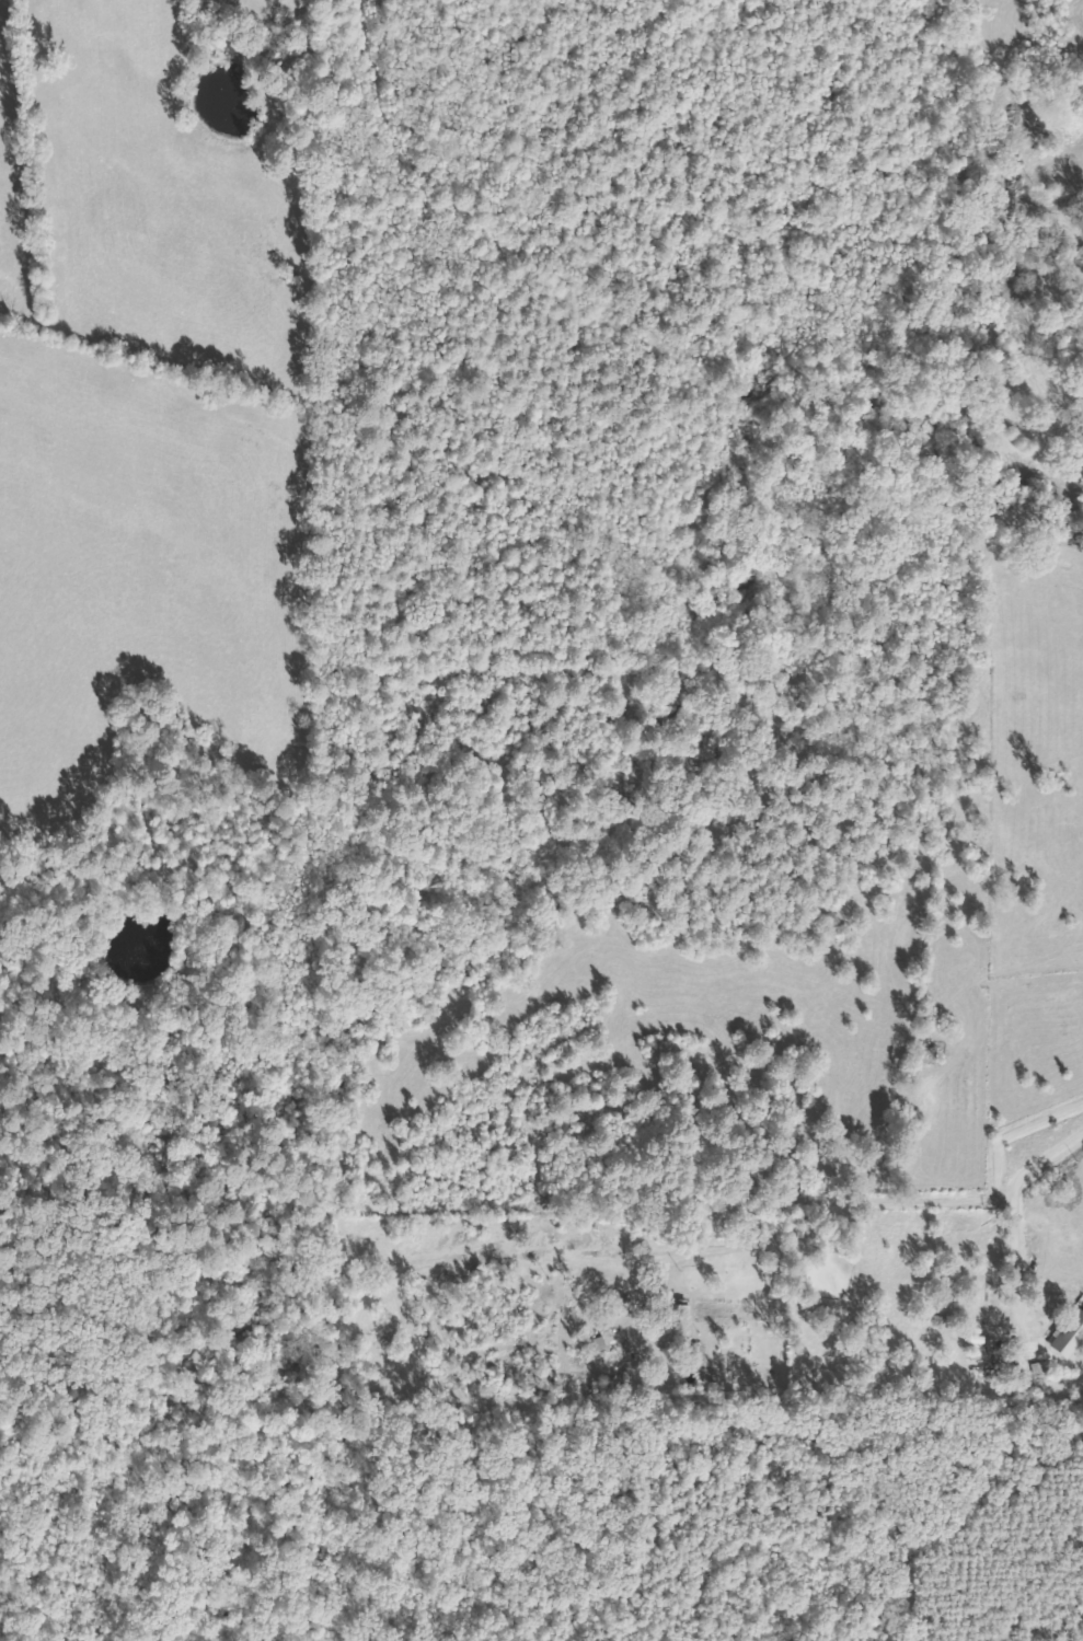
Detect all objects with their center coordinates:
building: (1073, 1337)

